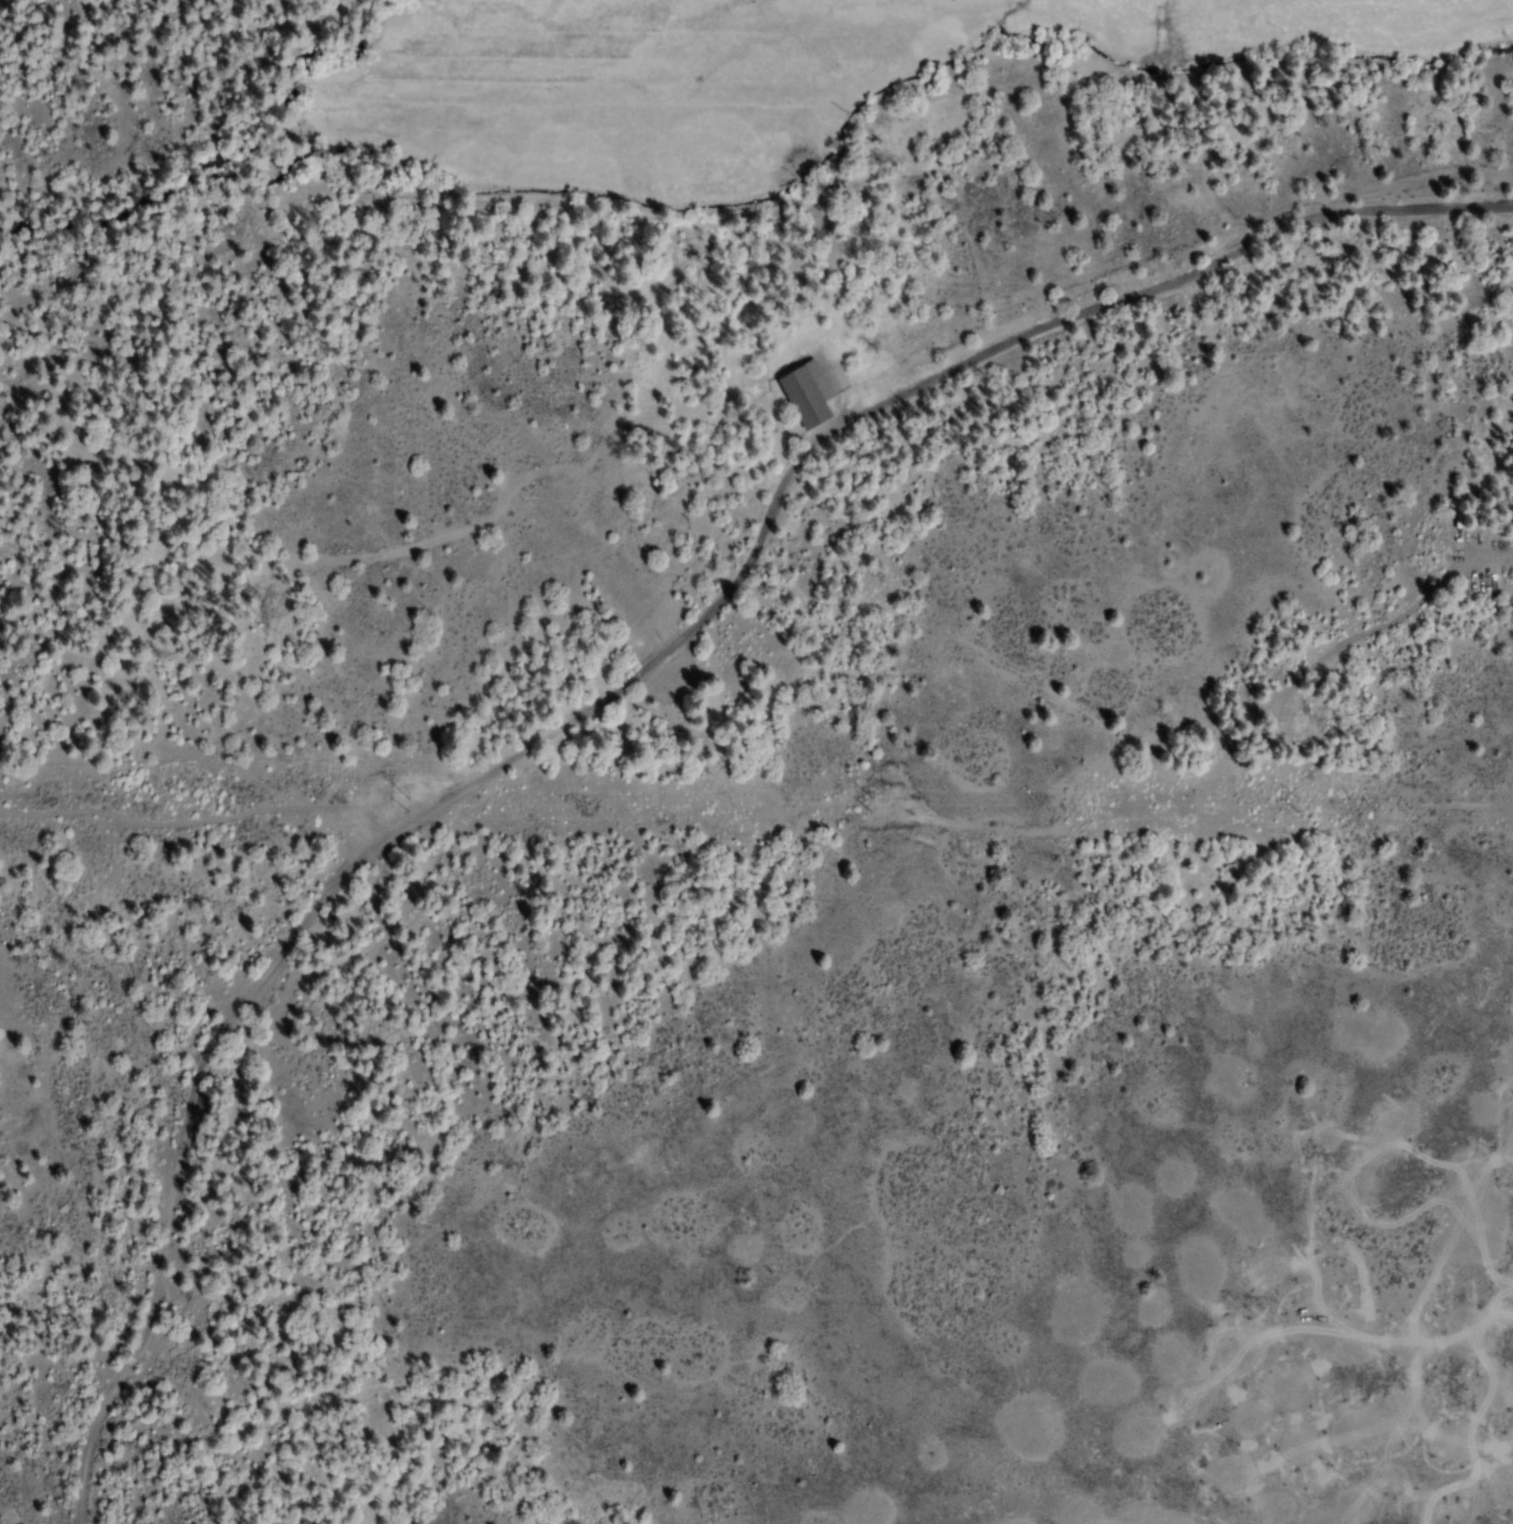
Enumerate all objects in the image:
road: (736, 797)
power tower: (1295, 800)
power tower: (405, 801)
power tower: (867, 801)

